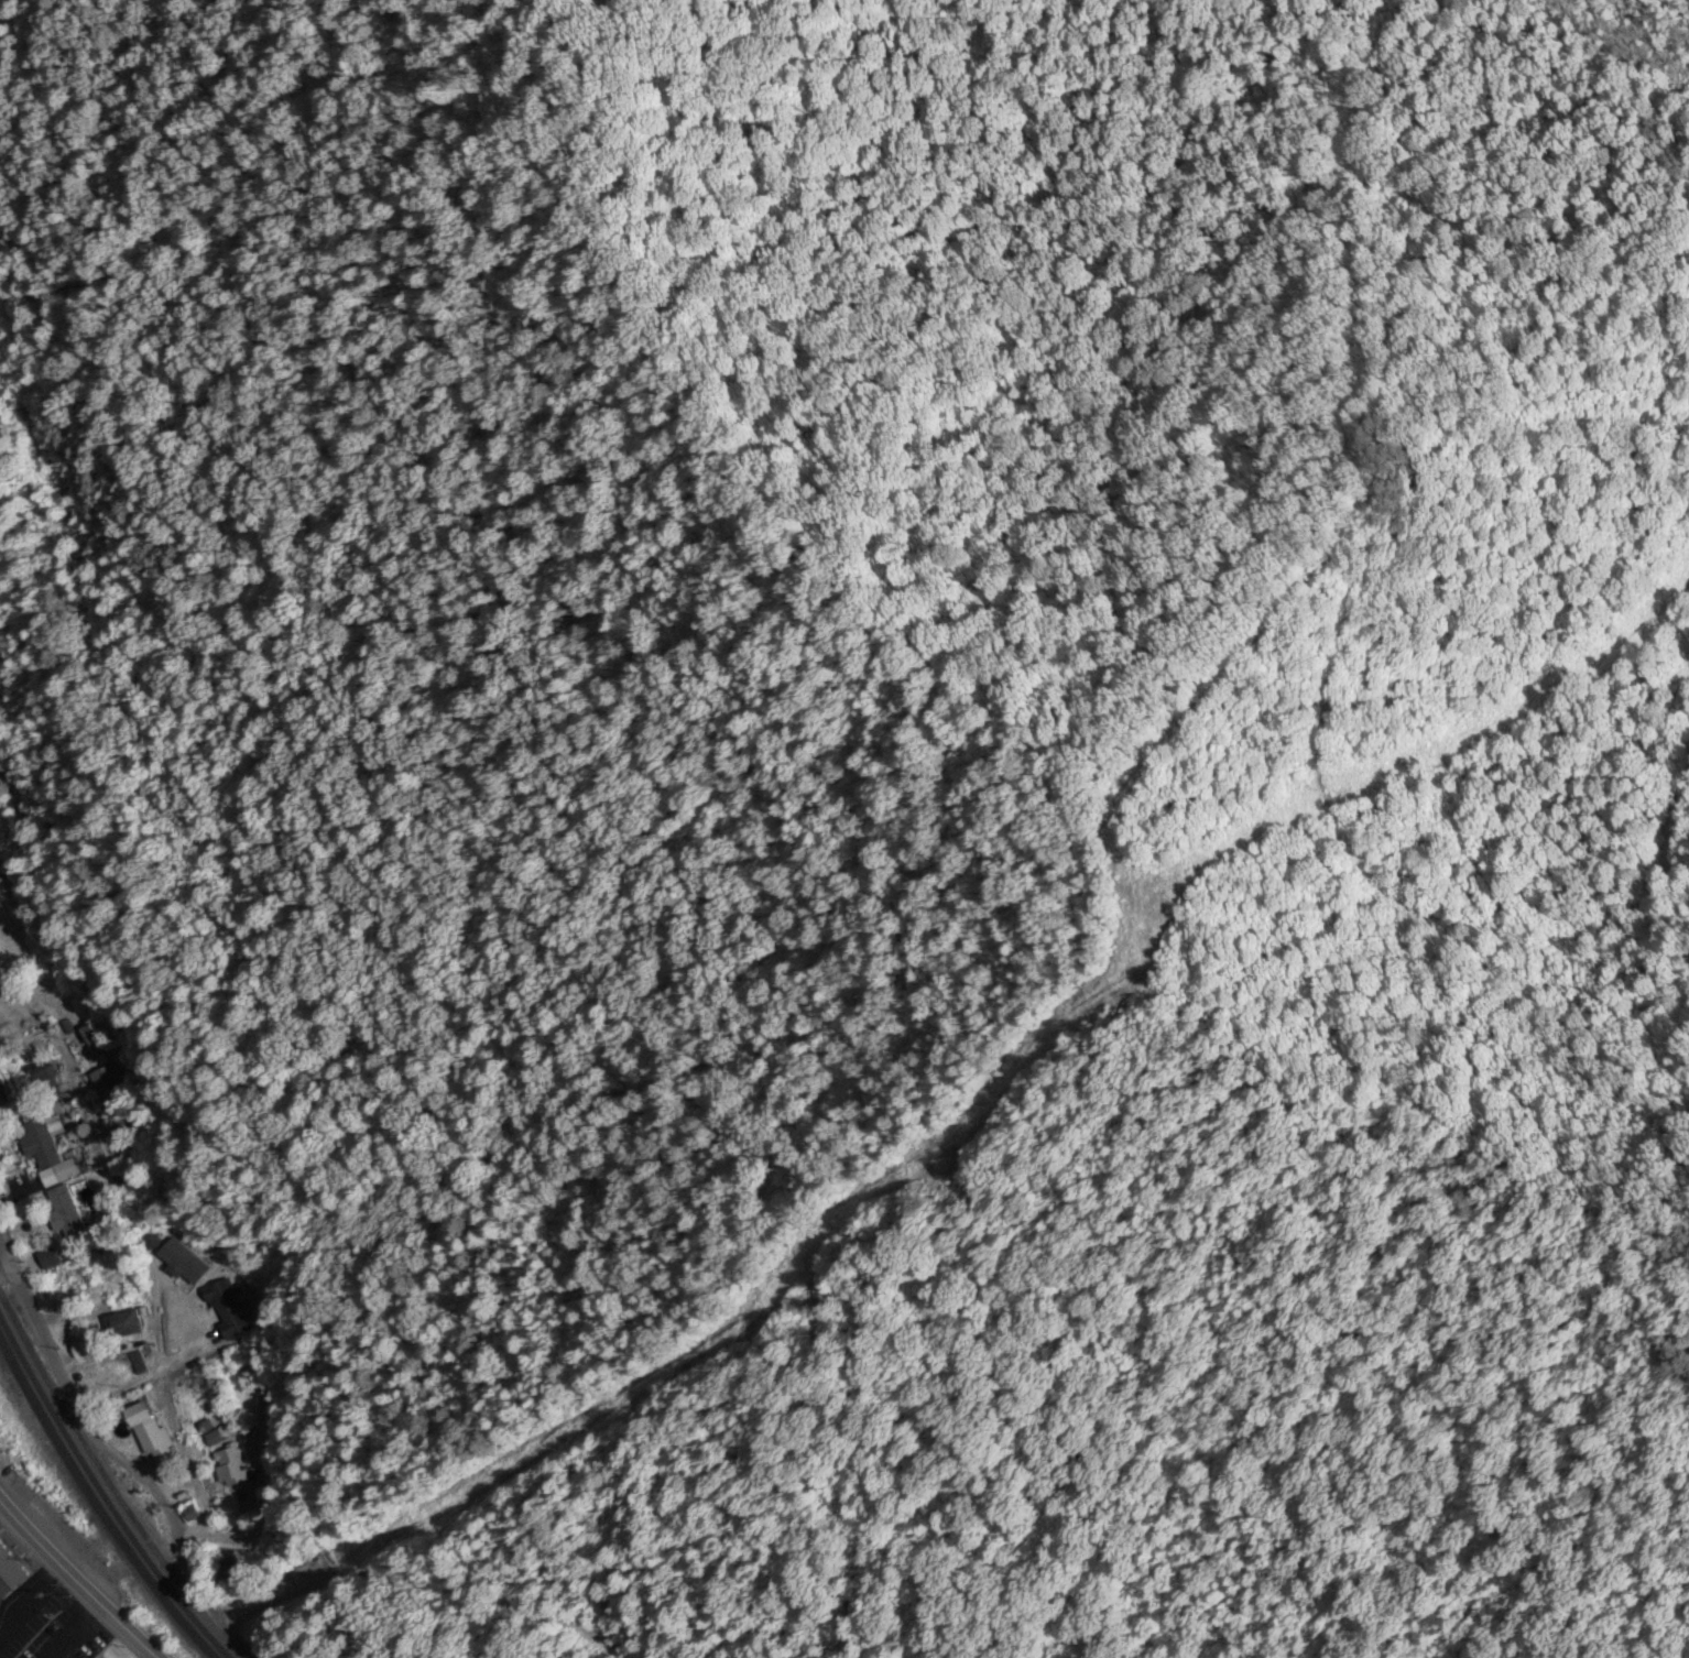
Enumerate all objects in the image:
building: (0, 920)
building: (42, 1072)
building: (108, 1083)
building: (45, 1148)
building: (65, 1217)
road: (3, 1263)
building: (116, 1273)
building: (68, 1274)
building: (228, 1309)
road: (144, 1377)
building: (201, 1403)
road: (69, 1404)
building: (151, 1436)
building: (230, 1468)
railway: (103, 1502)
building: (228, 1571)
building: (10, 1574)
road: (74, 1584)

